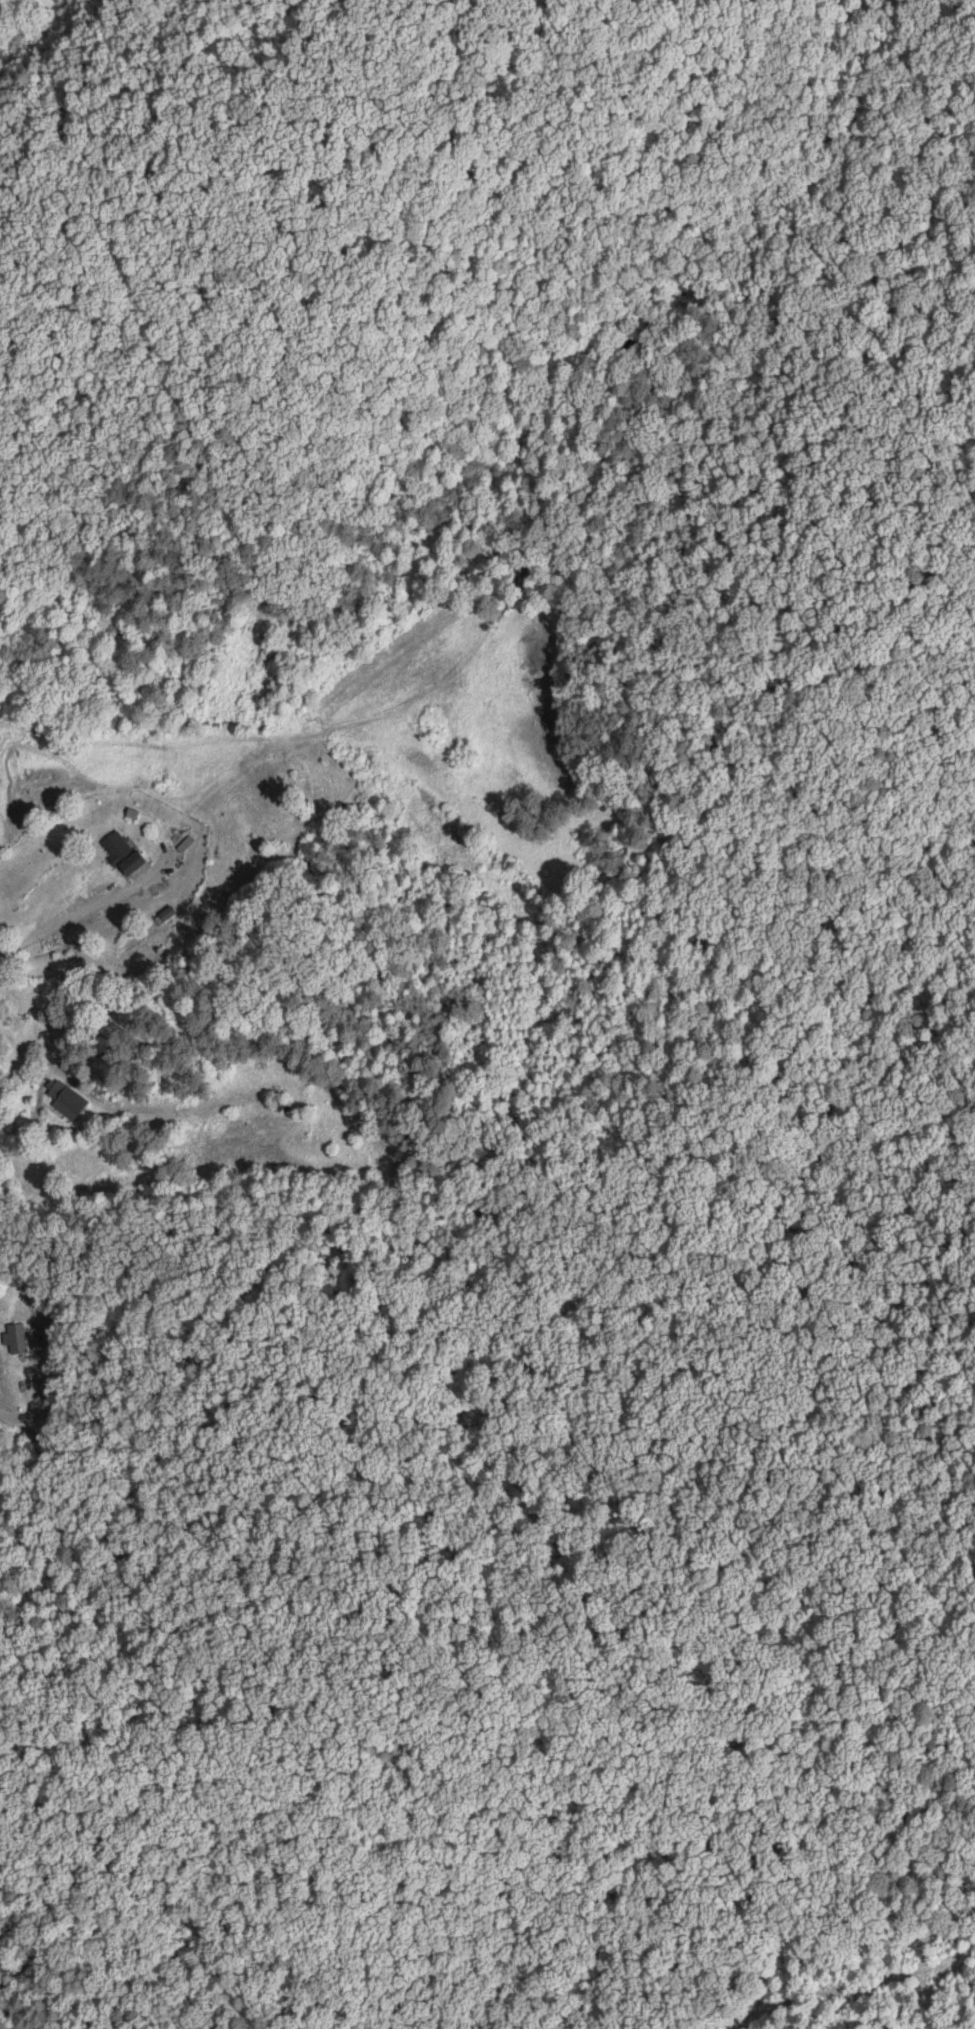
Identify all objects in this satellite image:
building: (128, 854)
building: (68, 1103)
building: (19, 1338)

